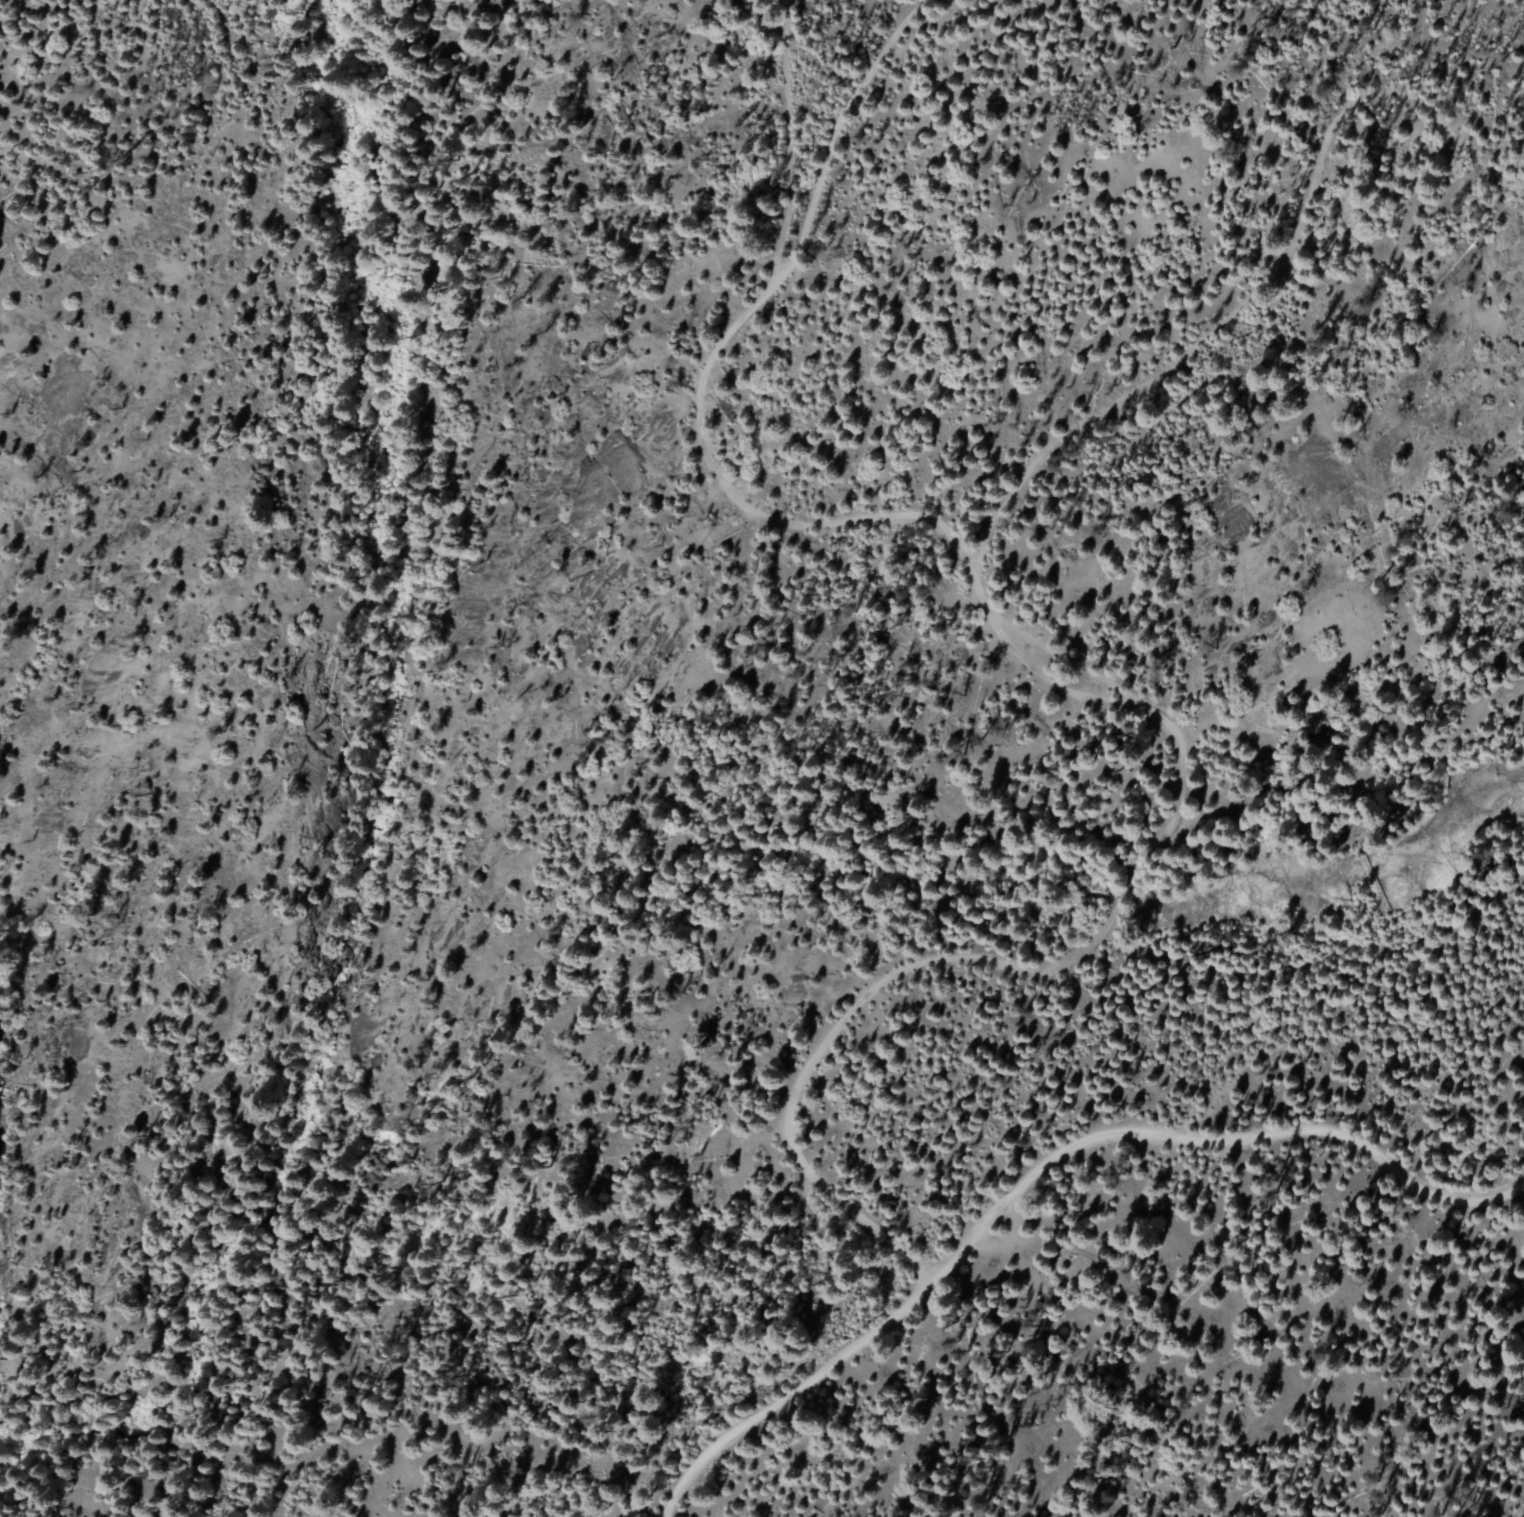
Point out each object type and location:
road: (1044, 679)
road: (1215, 1141)
road: (794, 1388)

